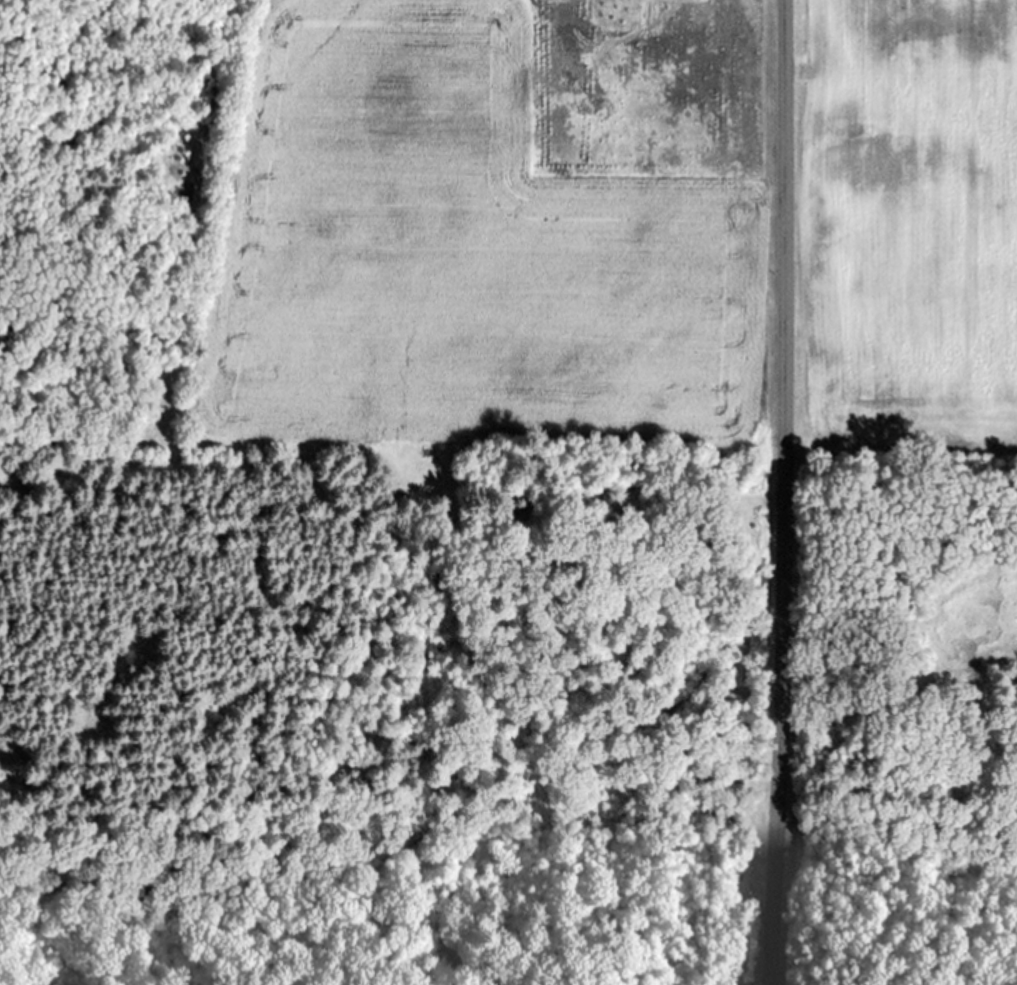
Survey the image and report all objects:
road: (788, 492)

